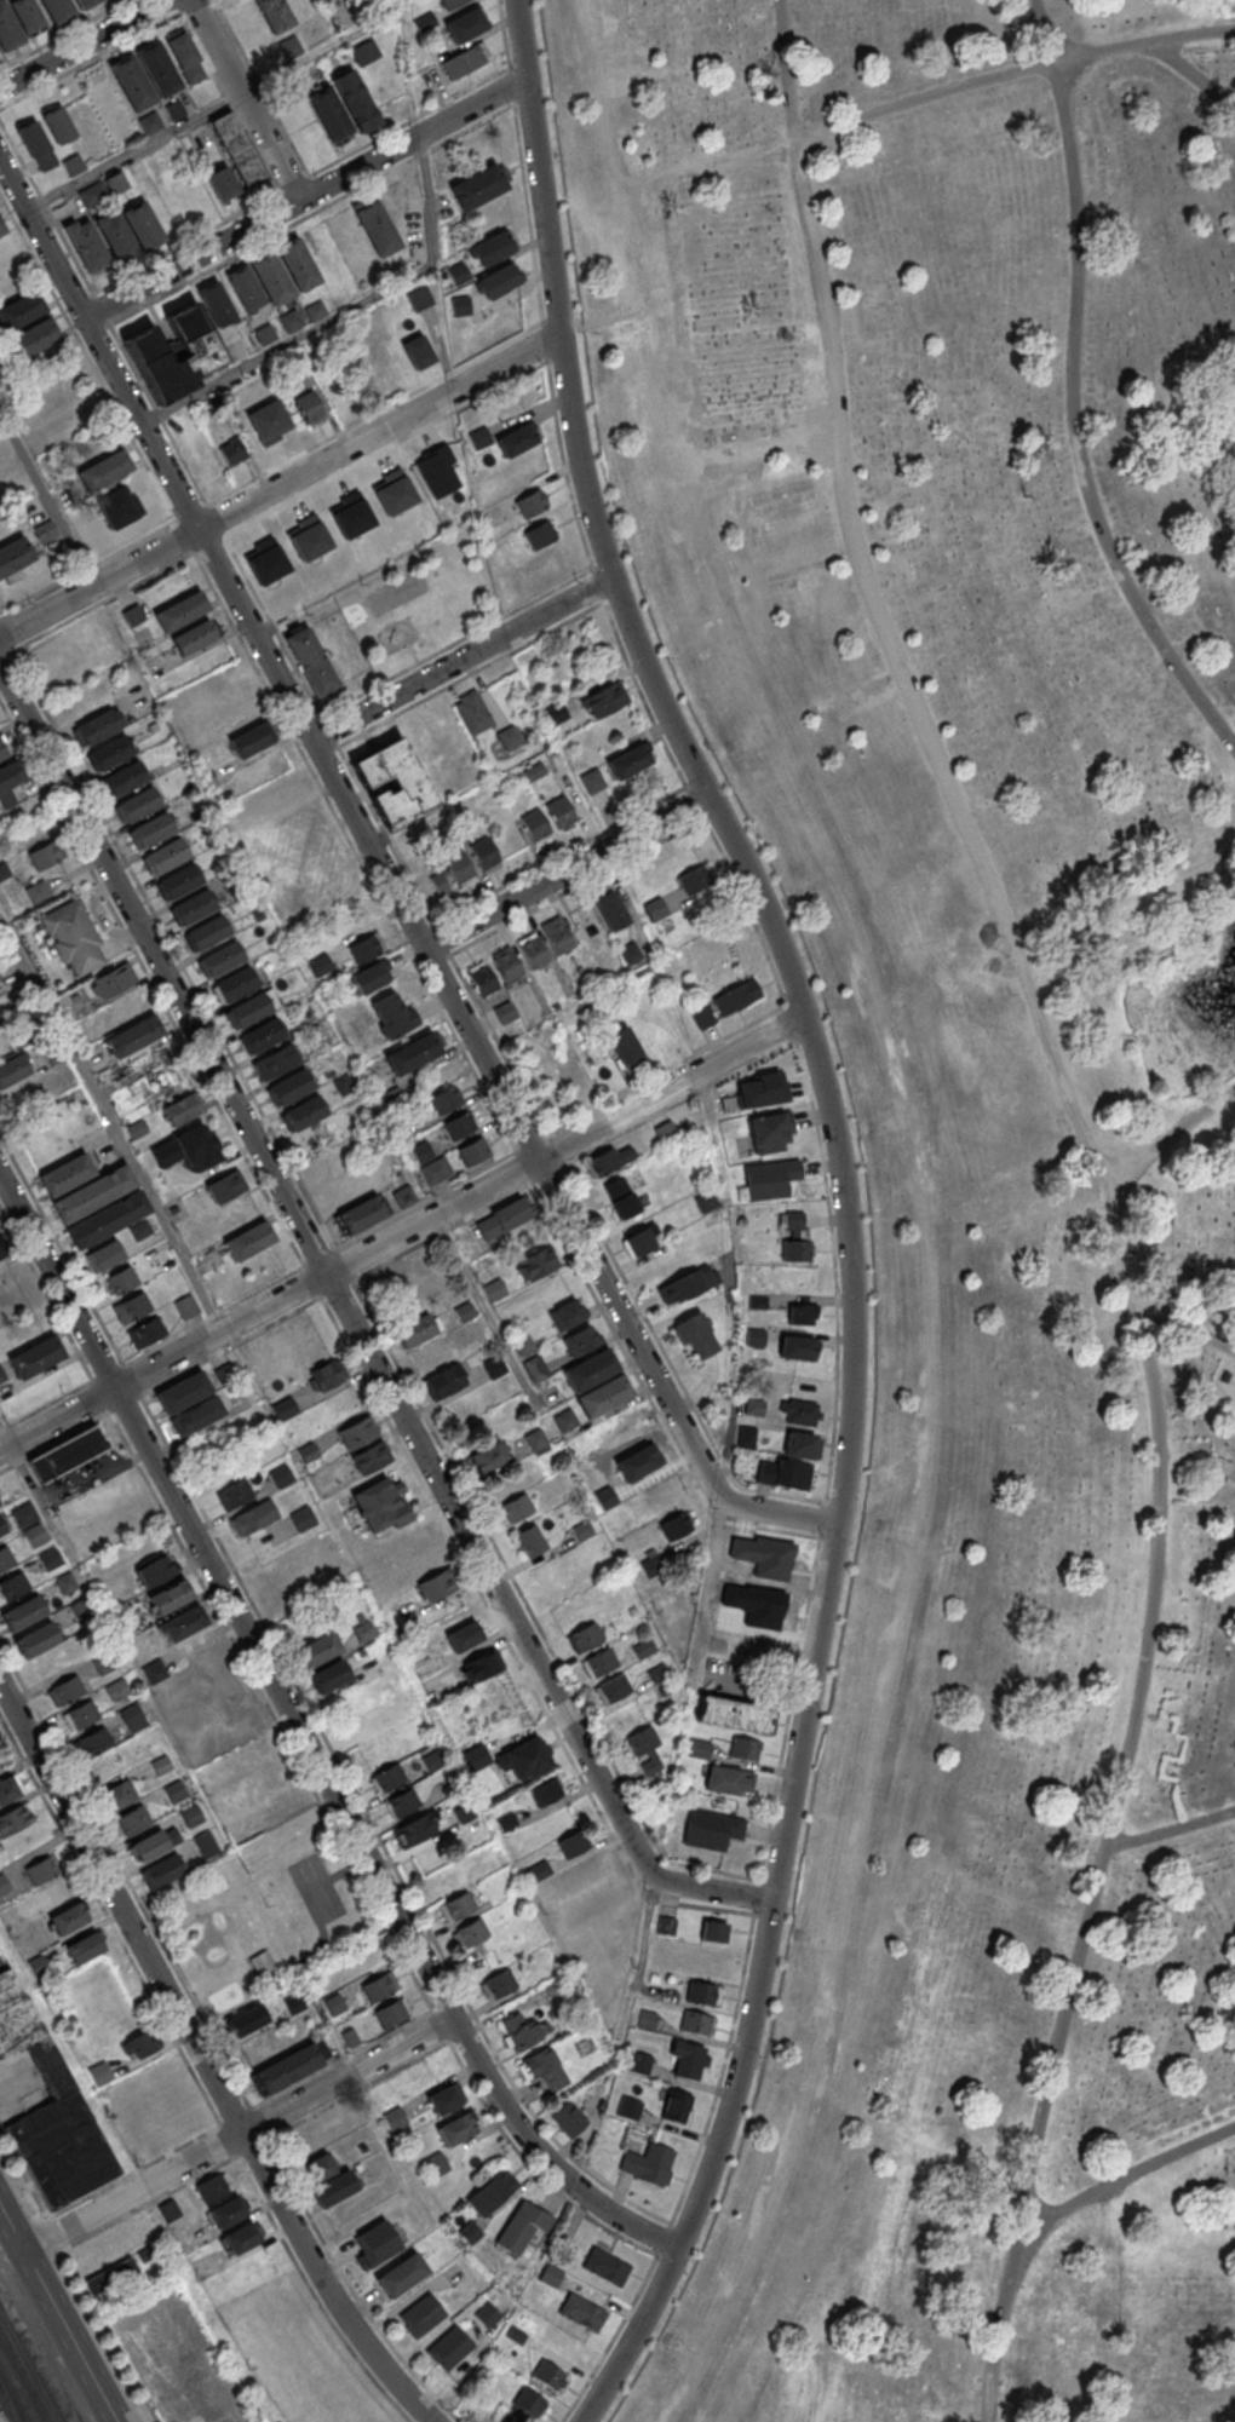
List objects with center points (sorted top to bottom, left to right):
building: (318, 0)
building: (452, 4)
building: (64, 8)
building: (274, 15)
building: (19, 22)
building: (465, 25)
road: (80, 44)
building: (289, 47)
road: (324, 48)
building: (364, 51)
building: (186, 59)
building: (465, 61)
road: (1191, 68)
road: (1011, 71)
building: (144, 77)
road: (246, 99)
building: (355, 100)
building: (174, 111)
building: (329, 113)
building: (151, 122)
building: (57, 125)
building: (36, 144)
building: (237, 148)
road: (133, 151)
building: (73, 166)
building: (222, 182)
building: (116, 183)
building: (477, 185)
building: (94, 194)
road: (303, 197)
building: (377, 228)
building: (1, 231)
building: (130, 231)
building: (86, 243)
building: (492, 248)
building: (272, 276)
building: (498, 282)
building: (217, 304)
road: (343, 313)
building: (264, 335)
building: (34, 338)
building: (199, 346)
building: (237, 349)
building: (418, 351)
road: (1073, 391)
building: (308, 408)
building: (479, 438)
building: (516, 439)
building: (231, 453)
building: (104, 471)
road: (278, 484)
road: (47, 497)
building: (530, 502)
building: (45, 530)
building: (540, 534)
building: (15, 556)
park: (419, 600)
building: (180, 611)
building: (193, 637)
road: (460, 658)
building: (311, 661)
building: (604, 700)
building: (472, 712)
building: (97, 727)
building: (509, 738)
building: (251, 740)
building: (1, 752)
building: (109, 754)
building: (628, 761)
building: (125, 781)
building: (592, 781)
building: (392, 782)
building: (10, 783)
building: (136, 806)
building: (559, 813)
building: (535, 825)
building: (150, 832)
building: (45, 855)
building: (484, 855)
building: (165, 857)
road: (565, 871)
building: (450, 875)
building: (694, 880)
building: (178, 882)
road: (387, 882)
building: (193, 908)
building: (609, 909)
building: (655, 909)
building: (206, 934)
building: (557, 937)
building: (74, 939)
building: (366, 947)
building: (532, 951)
building: (220, 960)
building: (506, 965)
building: (370, 976)
building: (482, 979)
building: (111, 983)
building: (235, 985)
building: (736, 997)
building: (248, 1012)
building: (504, 1013)
building: (394, 1014)
building: (701, 1017)
building: (133, 1039)
building: (260, 1039)
building: (624, 1047)
building: (412, 1053)
building: (275, 1064)
building: (12, 1070)
building: (289, 1089)
building: (760, 1091)
building: (446, 1100)
road: (1069, 1109)
building: (182, 1111)
building: (303, 1116)
road: (110, 1122)
building: (460, 1127)
park: (970, 1131)
road: (1172, 1131)
building: (666, 1133)
building: (770, 1133)
building: (201, 1151)
building: (473, 1152)
building: (611, 1160)
building: (436, 1172)
building: (65, 1174)
building: (770, 1179)
building: (93, 1193)
building: (218, 1197)
building: (403, 1197)
building: (620, 1198)
building: (706, 1202)
road: (843, 1206)
building: (362, 1215)
building: (108, 1219)
building: (501, 1220)
road: (402, 1231)
building: (795, 1236)
building: (642, 1241)
building: (249, 1242)
building: (2, 1252)
building: (105, 1256)
building: (536, 1265)
building: (120, 1281)
building: (688, 1283)
building: (495, 1291)
building: (186, 1307)
building: (132, 1308)
building: (803, 1313)
building: (567, 1314)
road: (492, 1324)
road: (1184, 1327)
road: (355, 1328)
building: (419, 1331)
building: (145, 1334)
building: (696, 1335)
building: (580, 1340)
building: (523, 1345)
building: (797, 1347)
building: (36, 1357)
building: (494, 1368)
building: (535, 1369)
building: (590, 1369)
building: (324, 1375)
building: (444, 1383)
building: (183, 1392)
building: (603, 1396)
building: (285, 1408)
building: (799, 1411)
building: (197, 1416)
building: (357, 1432)
building: (746, 1436)
building: (802, 1444)
building: (68, 1452)
building: (308, 1452)
building: (370, 1459)
building: (489, 1459)
building: (783, 1473)
road: (25, 1474)
building: (281, 1477)
road: (96, 1479)
building: (234, 1495)
building: (383, 1506)
building: (517, 1509)
building: (254, 1518)
building: (303, 1518)
building: (676, 1526)
building: (2, 1528)
building: (582, 1531)
building: (530, 1542)
building: (6, 1559)
building: (51, 1559)
building: (155, 1571)
building: (436, 1584)
building: (13, 1587)
building: (170, 1598)
building: (22, 1613)
building: (184, 1624)
building: (464, 1635)
building: (586, 1636)
building: (36, 1643)
building: (317, 1651)
building: (599, 1664)
building: (481, 1668)
building: (657, 1673)
building: (329, 1679)
building: (613, 1690)
building: (65, 1692)
building: (735, 1714)
building: (81, 1716)
road: (304, 1741)
building: (94, 1744)
building: (746, 1748)
building: (699, 1749)
building: (645, 1751)
building: (525, 1760)
building: (389, 1778)
building: (730, 1782)
building: (6, 1790)
building: (546, 1793)
building: (117, 1795)
building: (403, 1805)
building: (133, 1820)
road: (1171, 1828)
building: (418, 1830)
building: (711, 1830)
building: (573, 1842)
road: (362, 1862)
building: (41, 1871)
road: (344, 1871)
building: (538, 1871)
building: (163, 1872)
park: (317, 1887)
building: (456, 1908)
park: (264, 1915)
building: (69, 1918)
building: (713, 1931)
building: (471, 1934)
road: (323, 1935)
building: (85, 1948)
building: (263, 1963)
building: (499, 1986)
building: (379, 1987)
building: (702, 1992)
building: (334, 2006)
building: (391, 2013)
building: (697, 2023)
building: (247, 2024)
building: (522, 2031)
building: (687, 2058)
road: (202, 2060)
building: (287, 2070)
building: (544, 2070)
building: (100, 2072)
building: (446, 2098)
building: (674, 2105)
building: (50, 2106)
building: (628, 2107)
building: (395, 2118)
building: (568, 2119)
building: (456, 2129)
road: (237, 2134)
building: (648, 2163)
road: (1126, 2176)
building: (327, 2179)
building: (214, 2187)
building: (492, 2193)
building: (170, 2211)
building: (228, 2211)
building: (522, 2227)
building: (241, 2238)
building: (375, 2244)
building: (605, 2266)
building: (401, 2276)
building: (114, 2278)
building: (581, 2312)
road: (57, 2315)
building: (421, 2315)
building: (488, 2315)
road: (998, 2325)
building: (449, 2348)
building: (548, 2375)
railway: (25, 2376)
railway: (19, 2386)
railway: (7, 2404)
building: (523, 2407)
railway: (6, 2410)
railway: (0, 2420)

